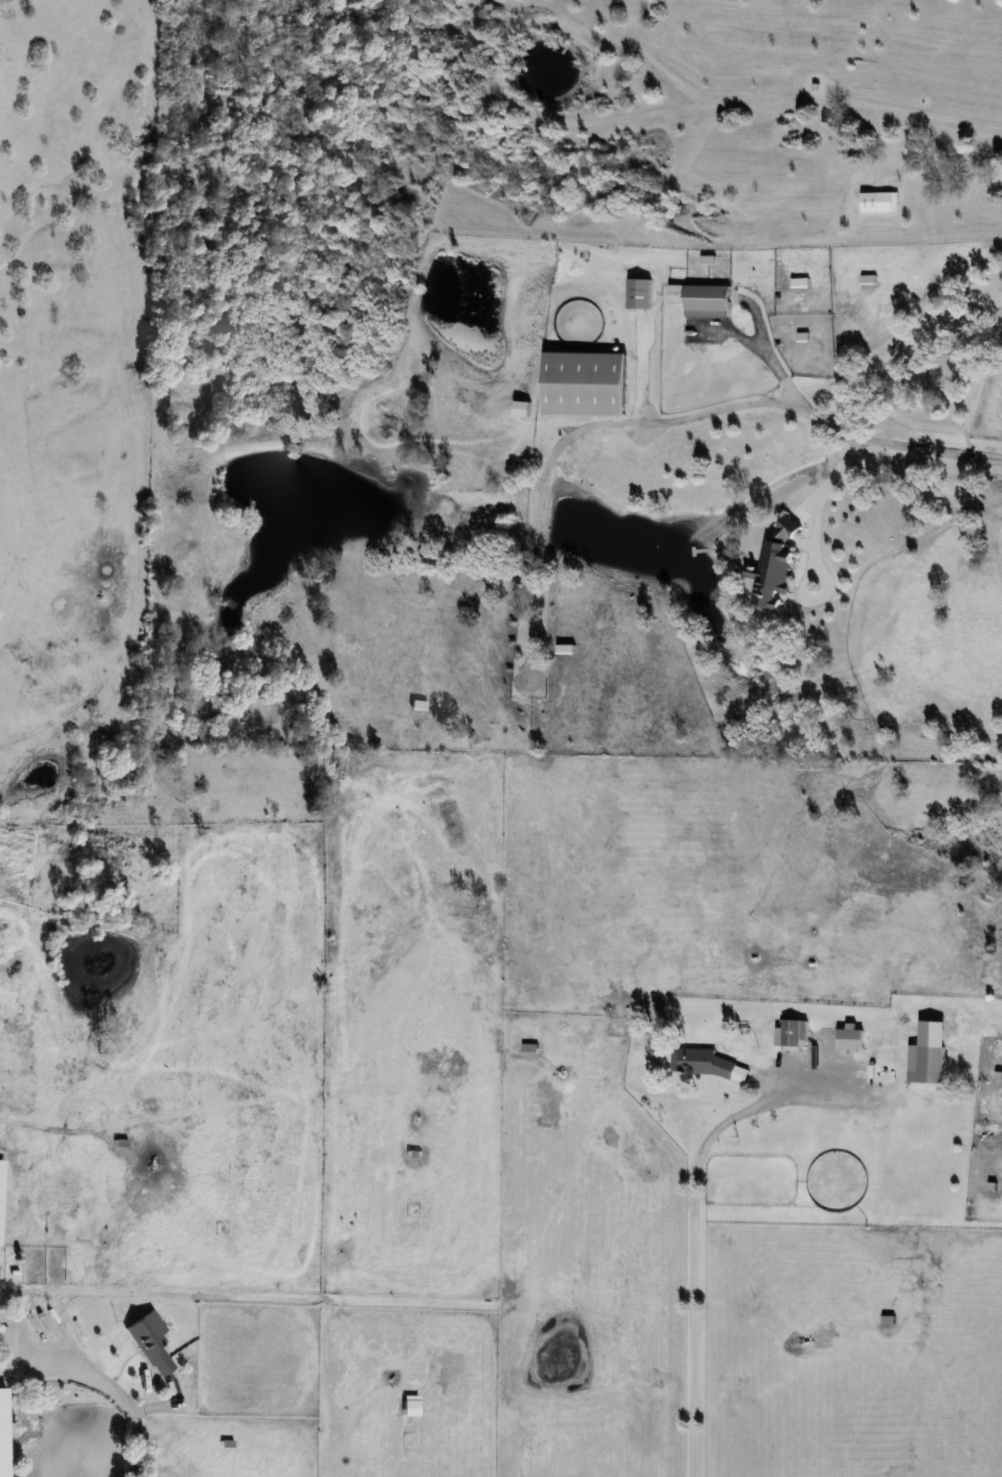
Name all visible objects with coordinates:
building: (880, 201)
building: (639, 293)
building: (708, 300)
building: (586, 383)
building: (523, 408)
road: (673, 411)
road: (834, 476)
building: (775, 565)
building: (565, 648)
building: (418, 705)
building: (794, 1034)
building: (10, 1054)
building: (704, 1064)
building: (929, 1066)
building: (835, 1073)
building: (1, 1198)
road: (690, 1217)
building: (152, 1345)
road: (102, 1385)
road: (156, 1412)
building: (3, 1434)

